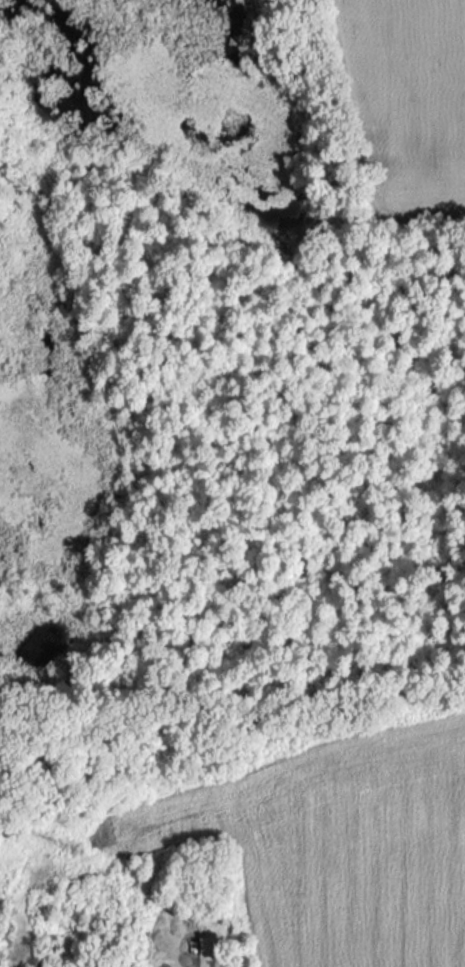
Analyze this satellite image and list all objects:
crop: (402, 107)
power tower: (80, 847)
building: (207, 944)

